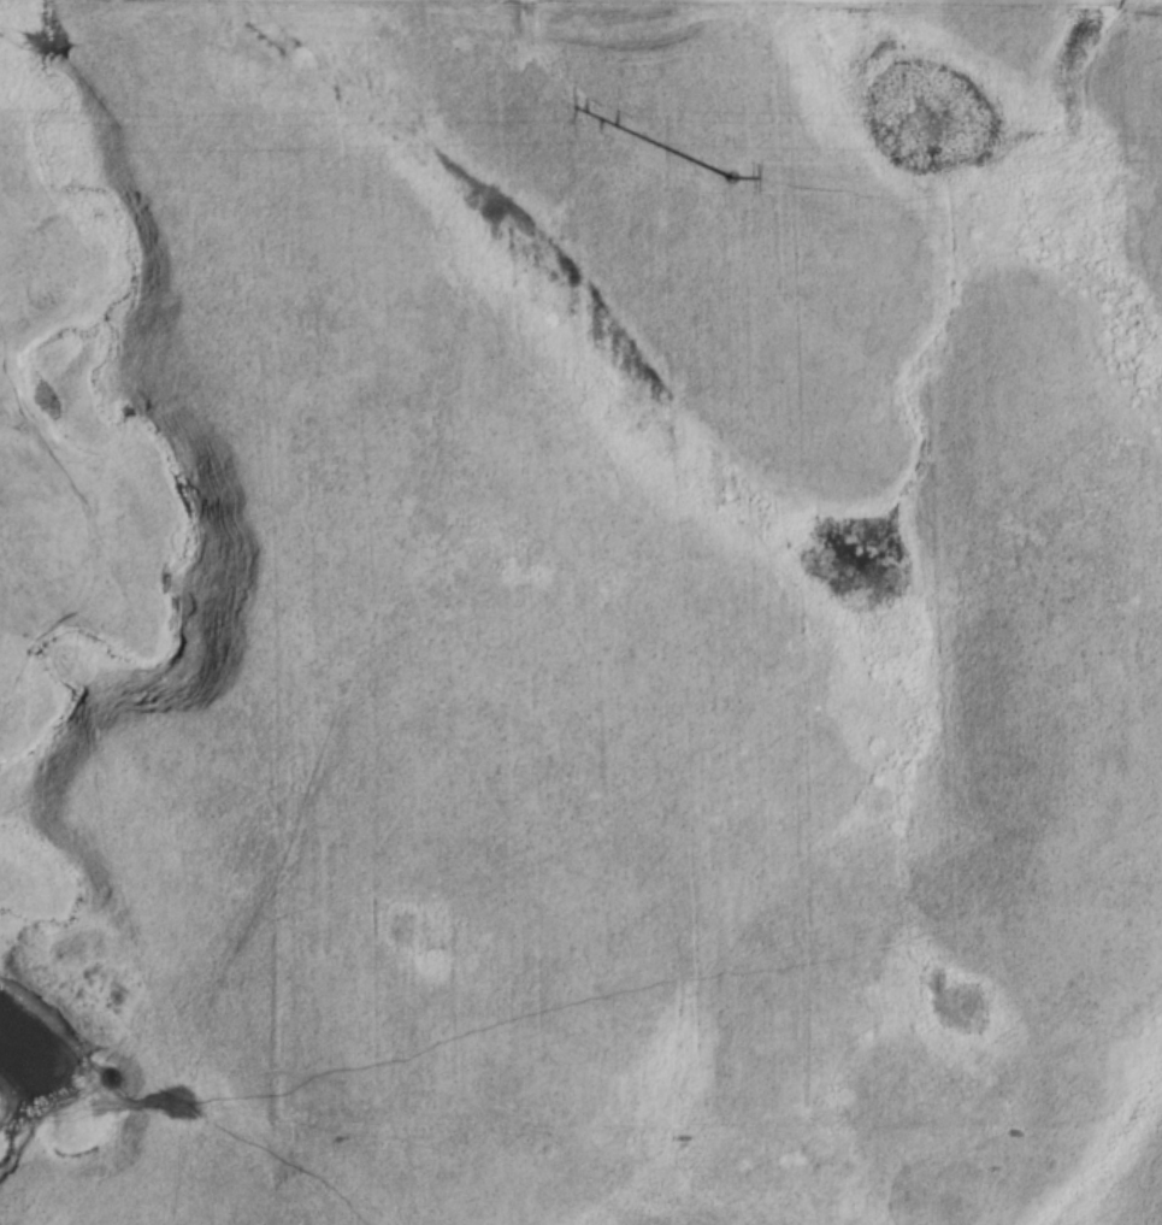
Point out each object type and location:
power tower: (741, 172)

